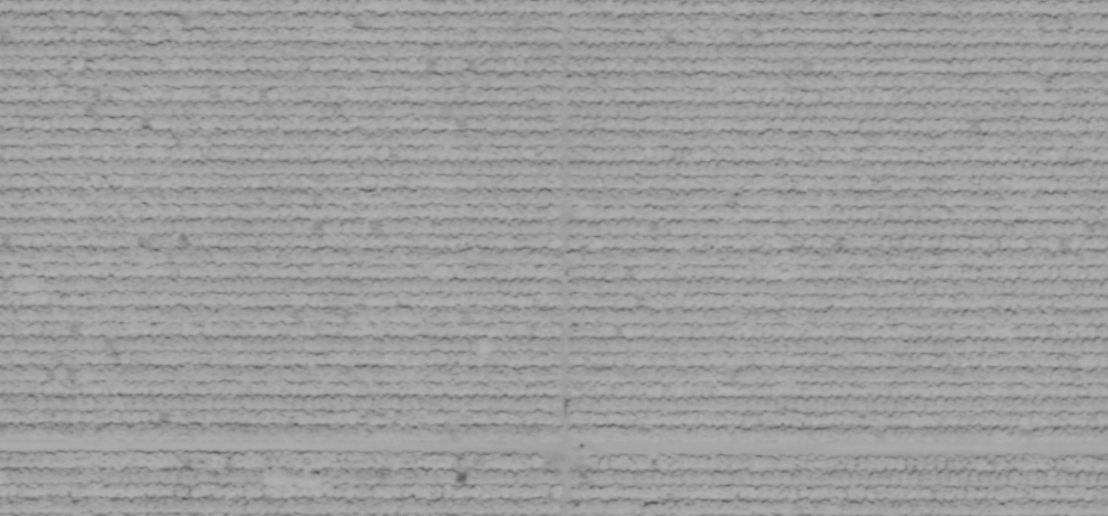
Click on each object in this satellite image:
crop: (553, 258)

